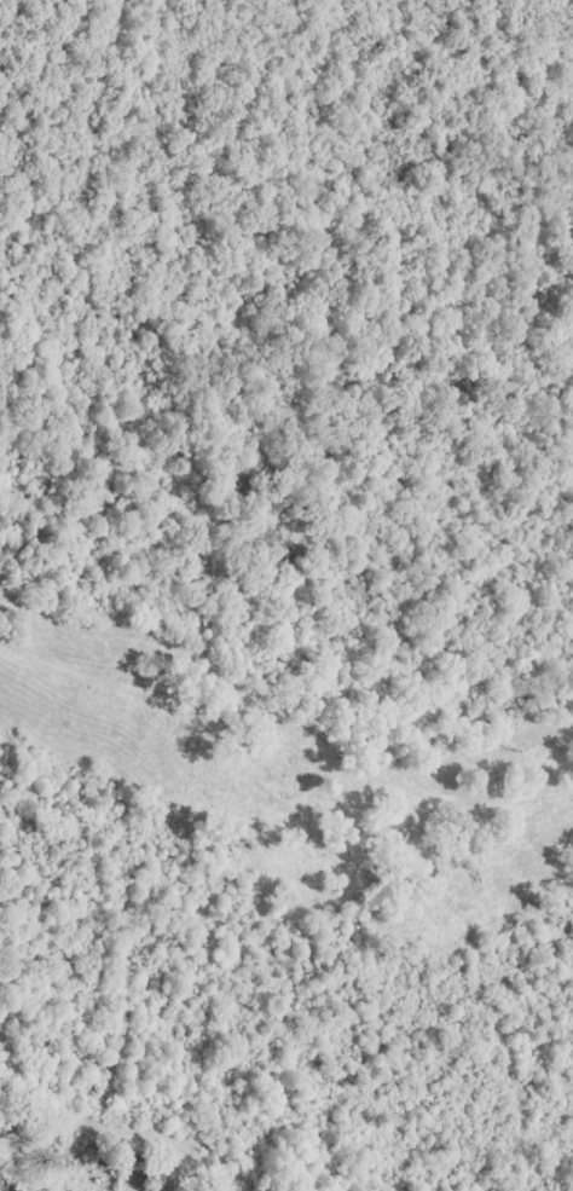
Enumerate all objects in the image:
road: (280, 787)

